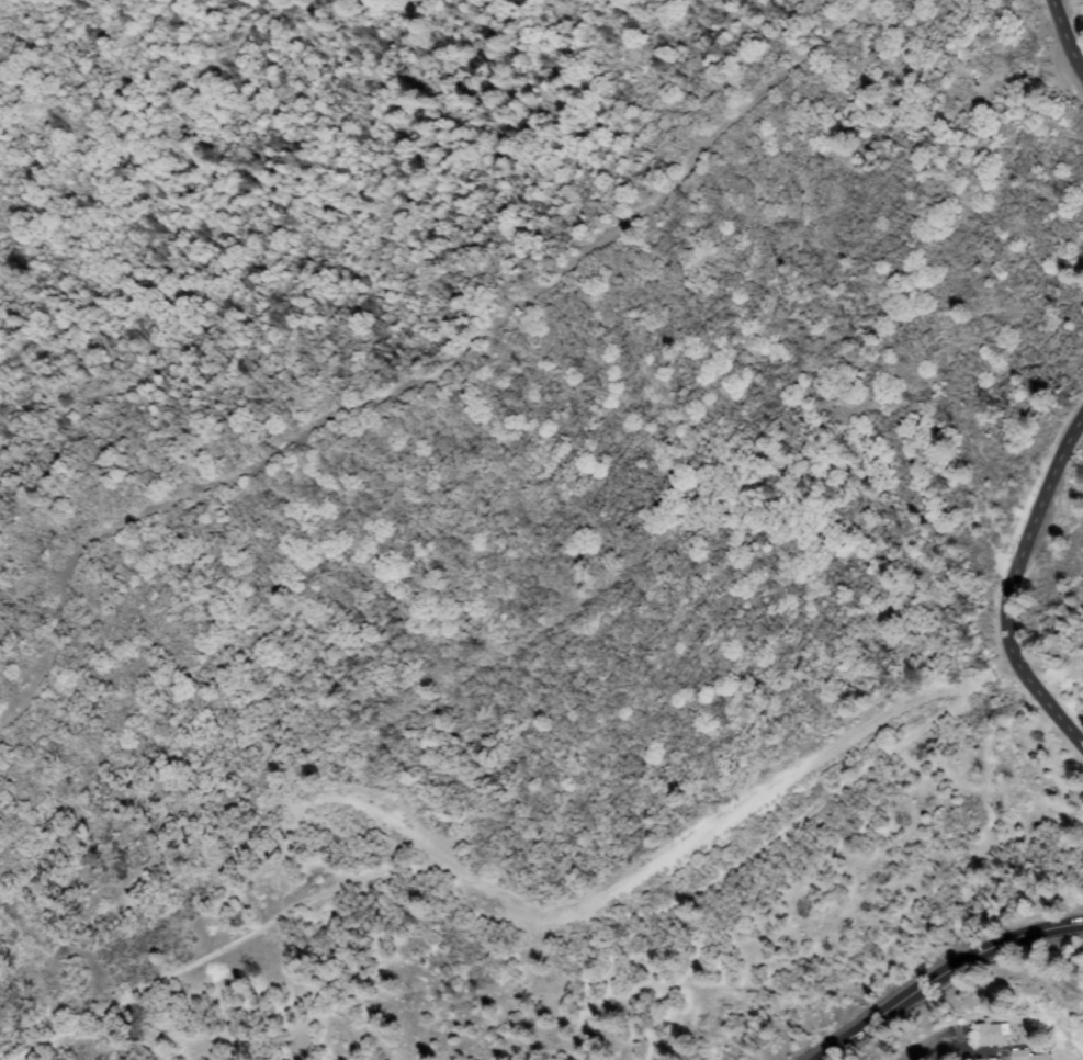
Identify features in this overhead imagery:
road: (1063, 42)
road: (425, 381)
road: (1008, 587)
road: (1048, 634)
road: (944, 974)
building: (993, 1034)
building: (1030, 1056)

